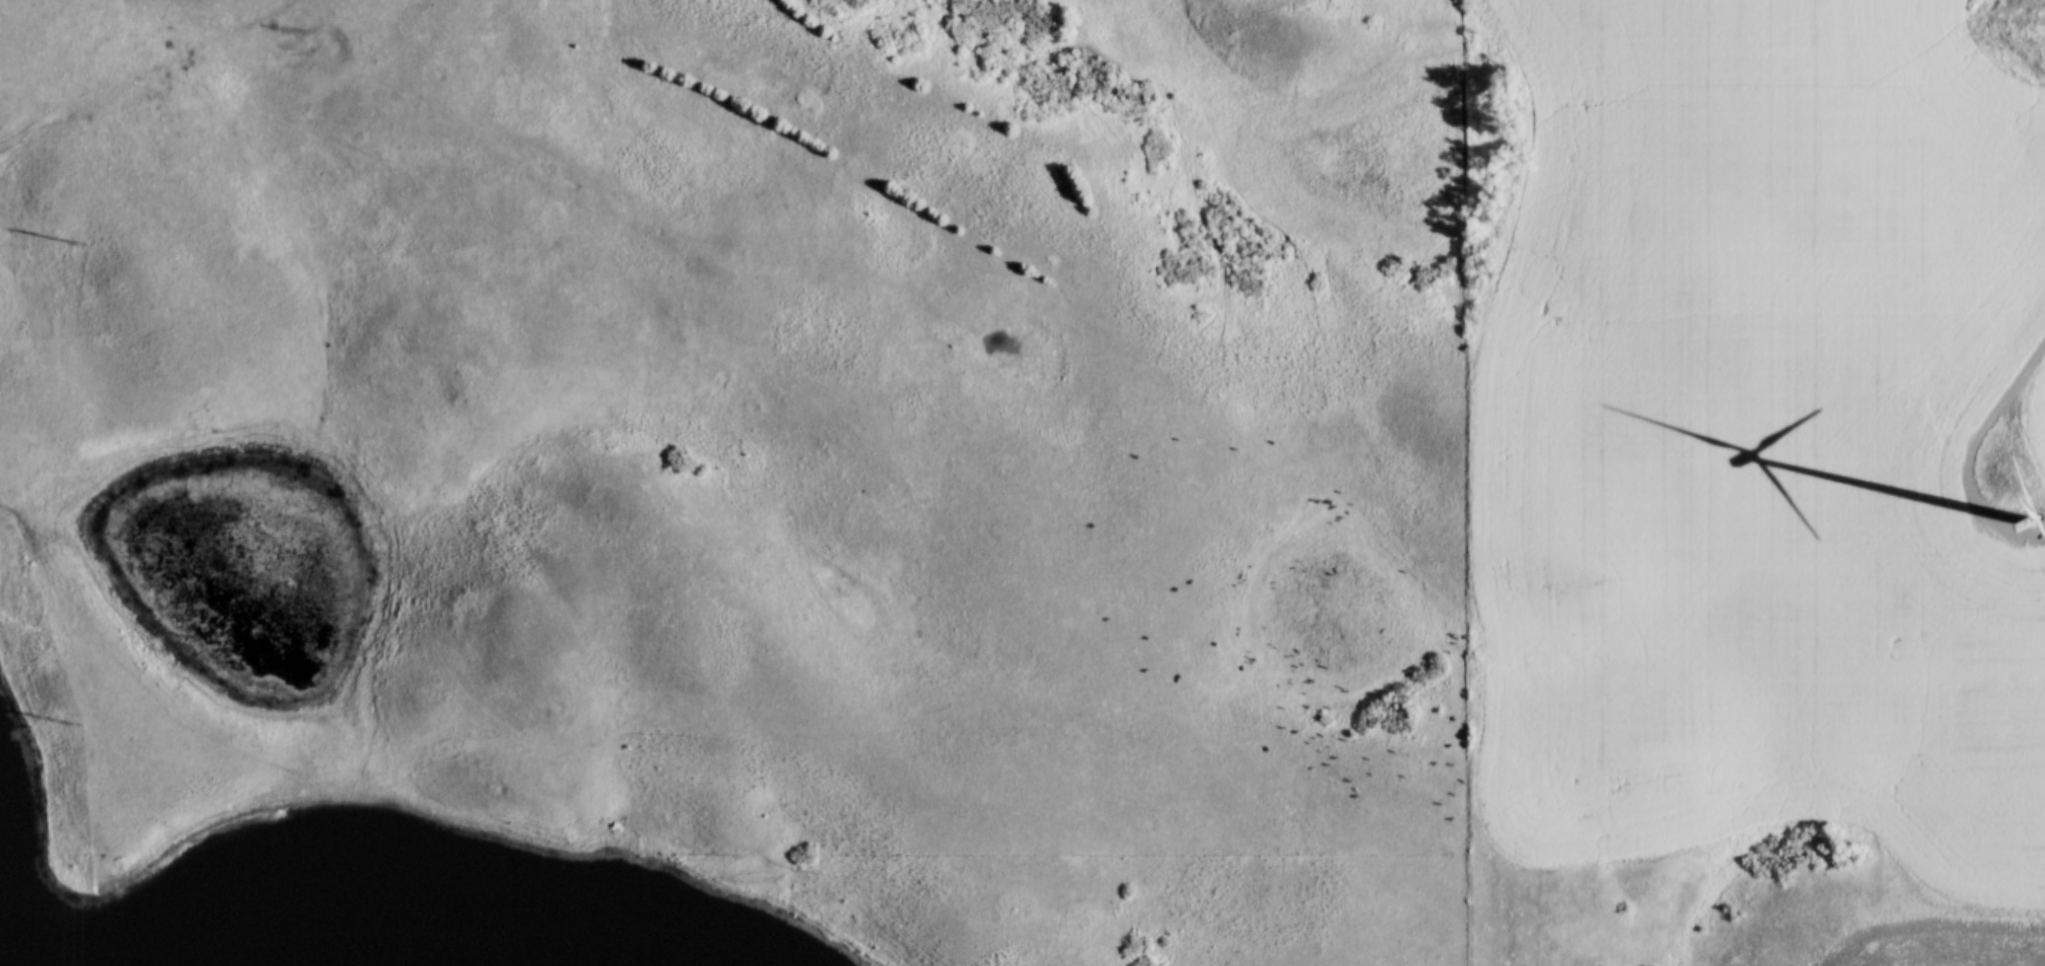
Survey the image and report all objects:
road: (1974, 425)
wind turbine: (2028, 523)

